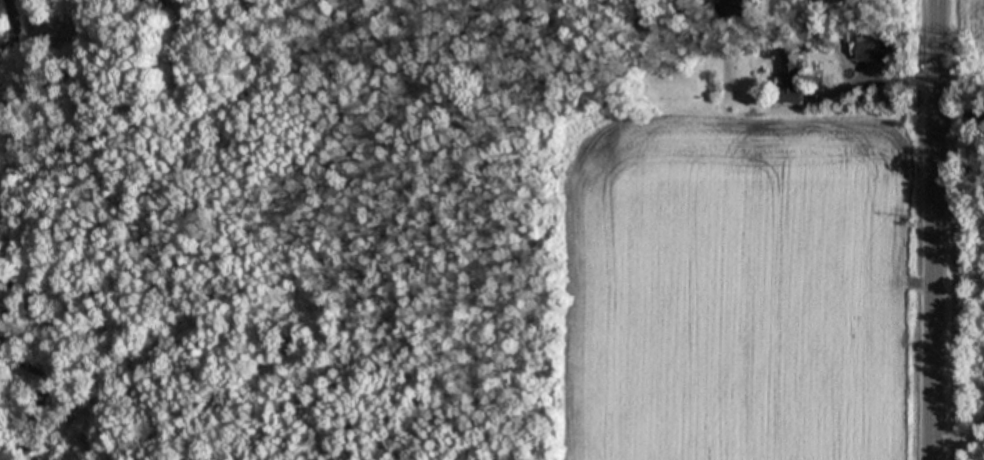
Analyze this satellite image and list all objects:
building: (736, 5)
building: (648, 14)
building: (867, 48)
road: (871, 75)
building: (789, 76)
road: (961, 127)
road: (937, 230)

